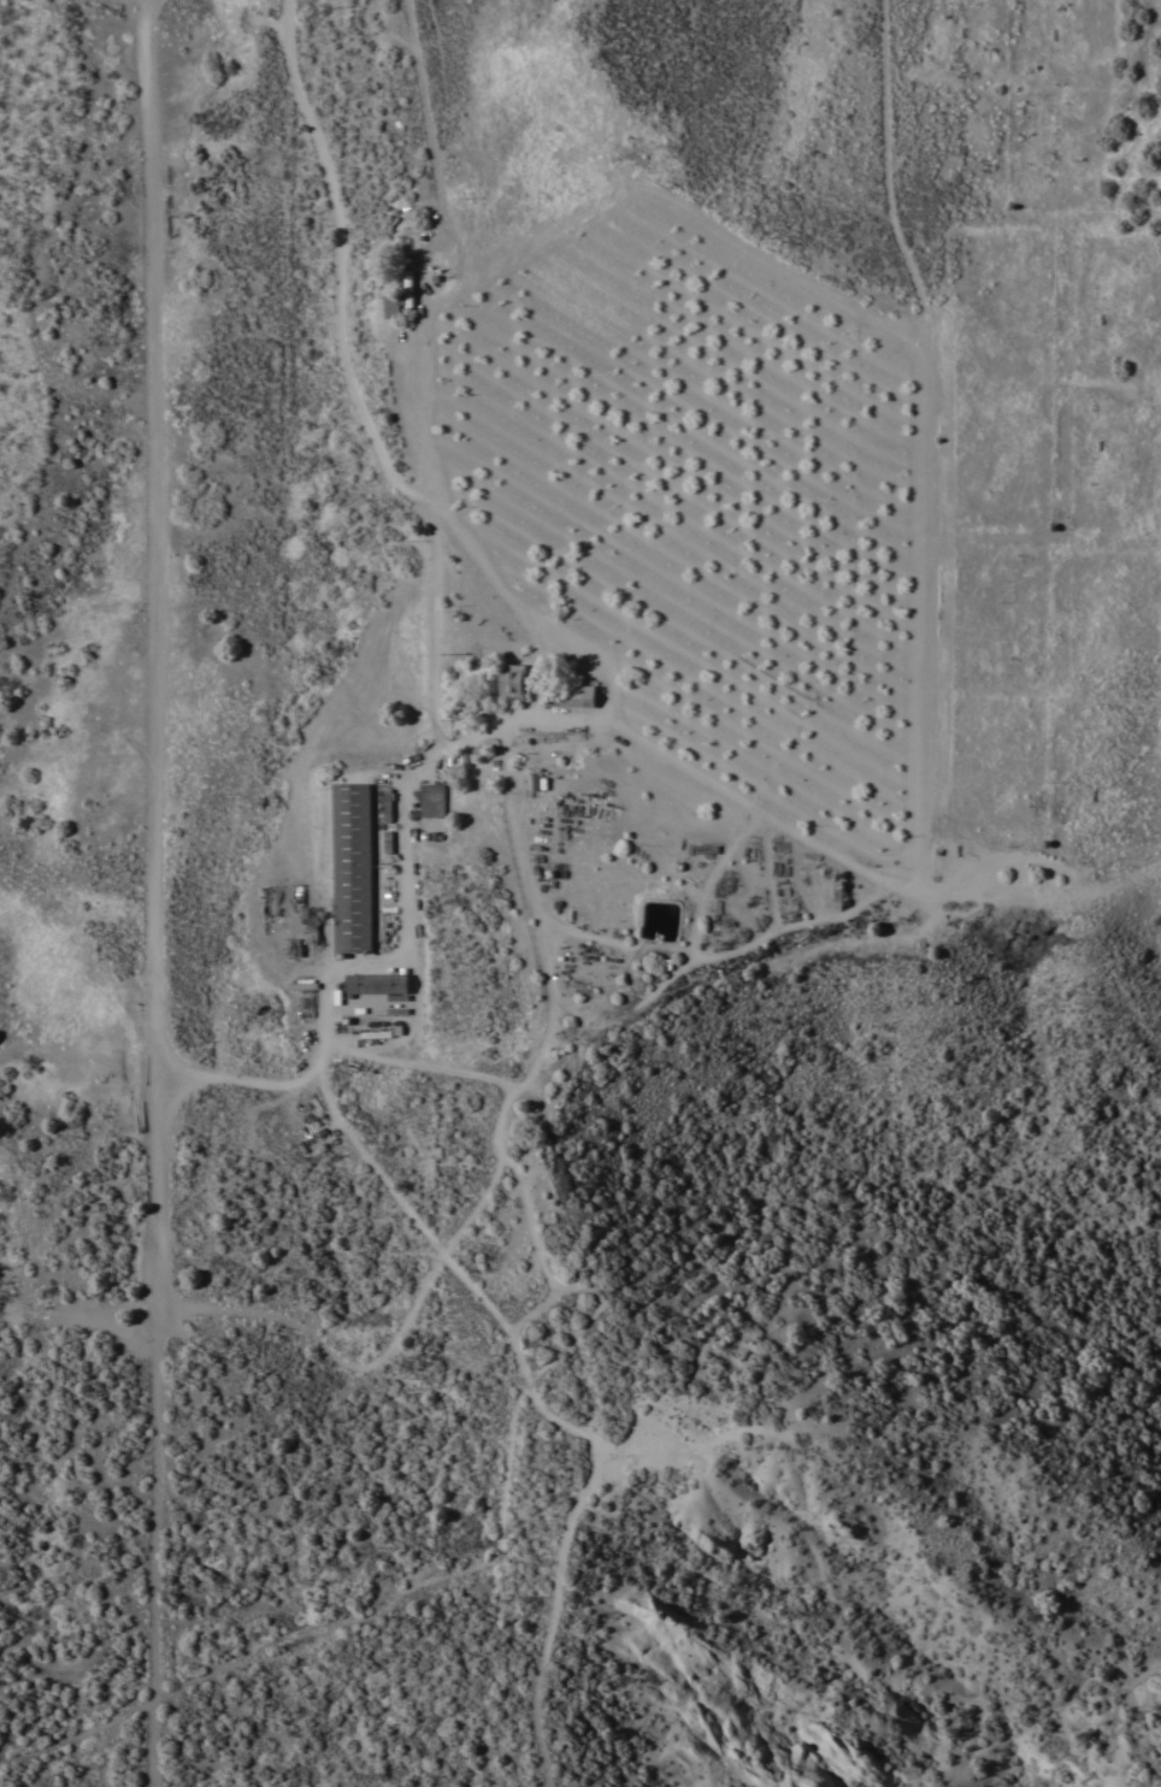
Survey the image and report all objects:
road: (1092, 147)
road: (889, 157)
road: (434, 164)
road: (1074, 169)
road: (193, 208)
road: (263, 212)
road: (1156, 281)
building: (397, 297)
road: (355, 390)
road: (930, 423)
road: (418, 425)
road: (1047, 541)
road: (517, 608)
building: (514, 682)
building: (573, 696)
road: (931, 712)
road: (660, 750)
building: (453, 762)
building: (434, 800)
building: (354, 867)
road: (1155, 868)
road: (530, 887)
road: (1026, 889)
road: (151, 892)
wastewater plant: (672, 901)
building: (378, 983)
road: (425, 1066)
road: (225, 1081)
road: (587, 1485)
road: (400, 1594)
road: (77, 1733)

